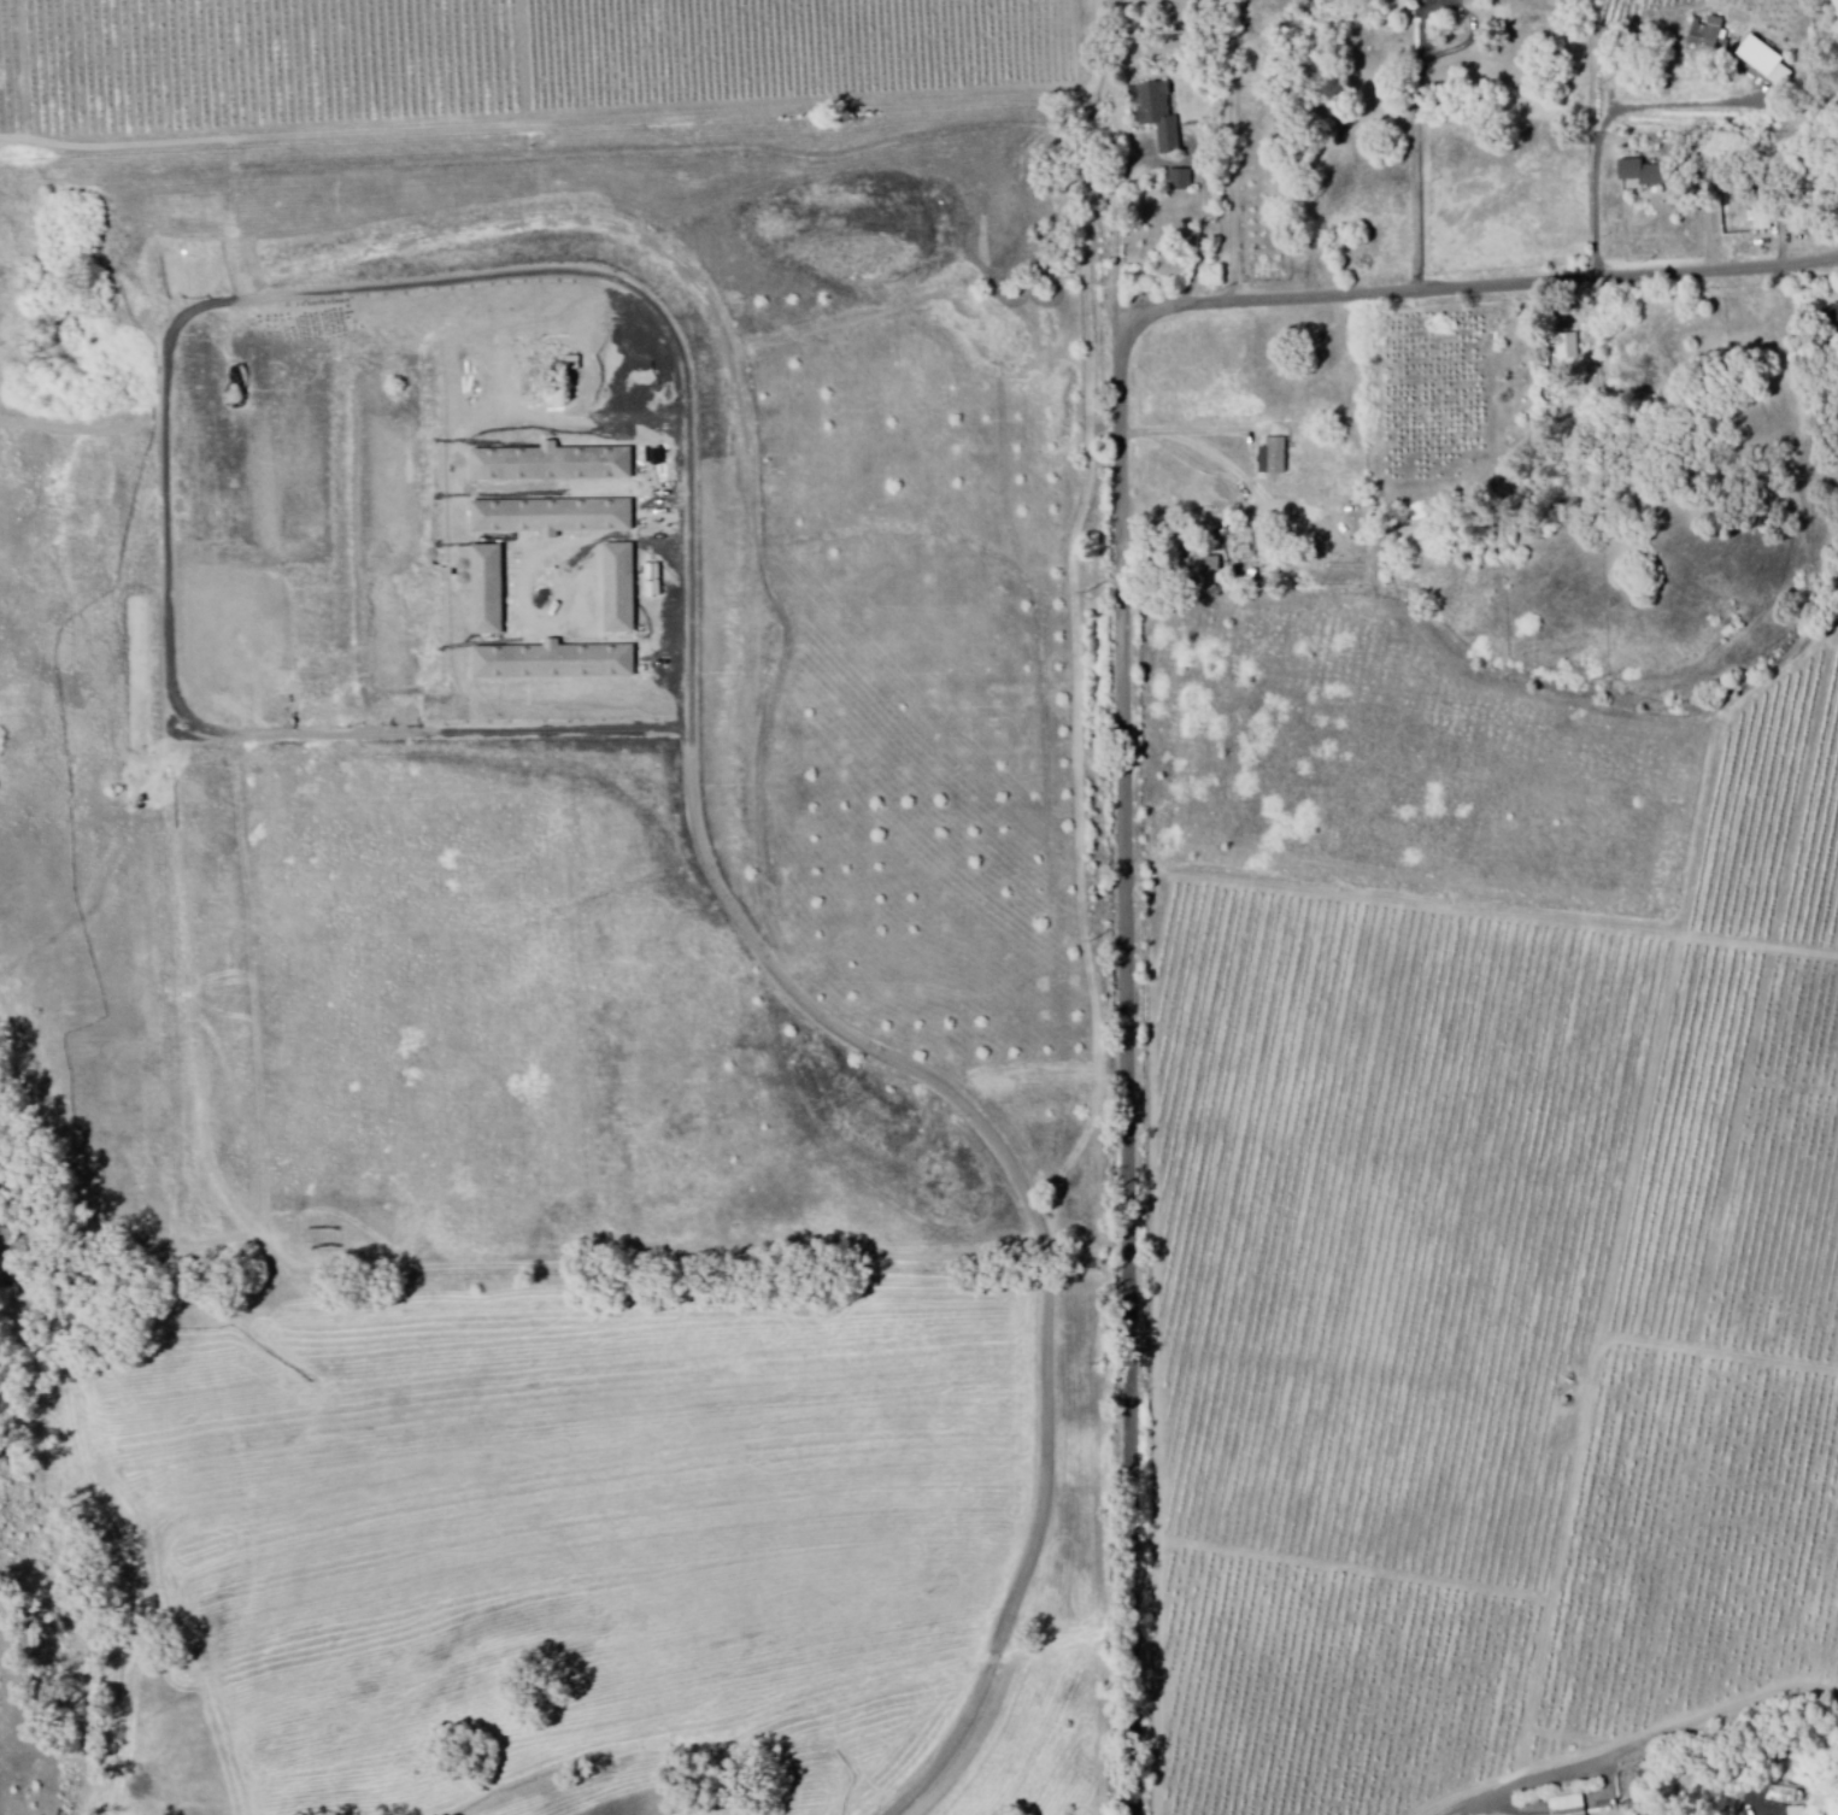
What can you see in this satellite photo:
building: (1427, 2)
building: (1710, 39)
building: (1764, 63)
building: (1159, 117)
road: (1610, 124)
road: (1231, 152)
building: (1648, 175)
building: (1181, 182)
road: (1423, 199)
building: (1761, 215)
road: (1126, 231)
road: (1144, 312)
building: (1833, 318)
road: (1123, 330)
building: (1568, 350)
building: (580, 364)
building: (1274, 458)
building: (552, 465)
building: (553, 518)
building: (1210, 572)
building: (554, 663)
road: (1124, 715)
road: (1657, 1738)
building: (1569, 1804)

